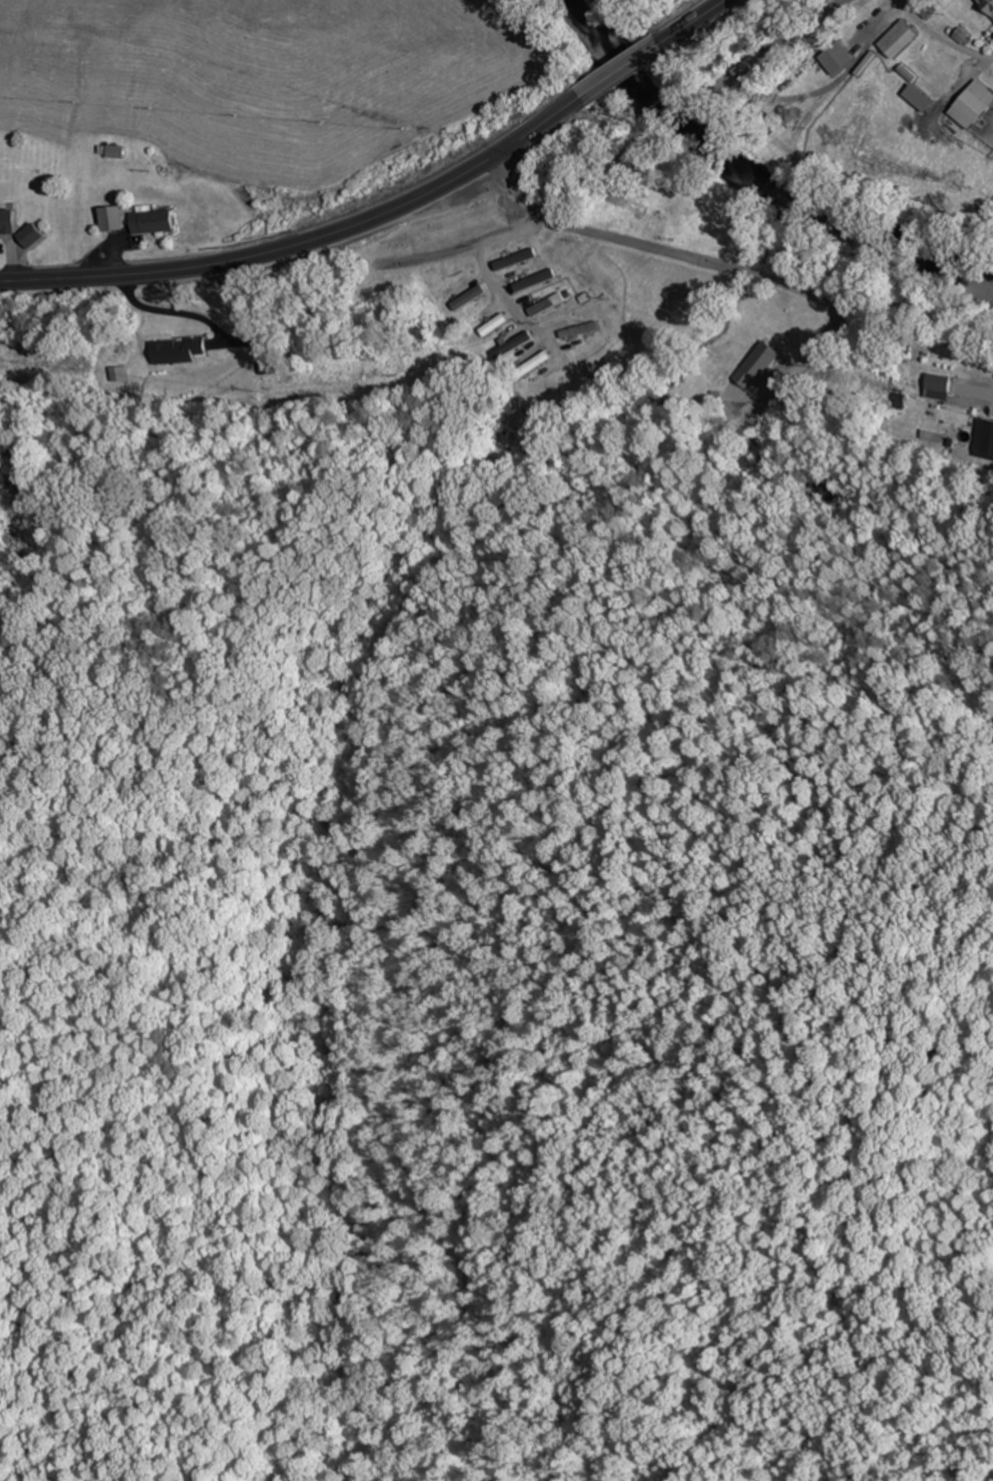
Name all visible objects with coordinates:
building: (988, 4)
road: (694, 23)
building: (899, 38)
building: (837, 57)
road: (621, 72)
building: (975, 106)
river: (753, 172)
building: (629, 204)
building: (604, 215)
building: (7, 221)
building: (154, 221)
building: (32, 235)
road: (307, 242)
building: (512, 261)
road: (732, 270)
building: (530, 283)
building: (468, 298)
building: (544, 306)
building: (495, 324)
building: (580, 331)
building: (511, 343)
building: (178, 350)
building: (531, 356)
building: (264, 365)
building: (120, 373)
building: (943, 383)
building: (931, 436)
building: (986, 440)

